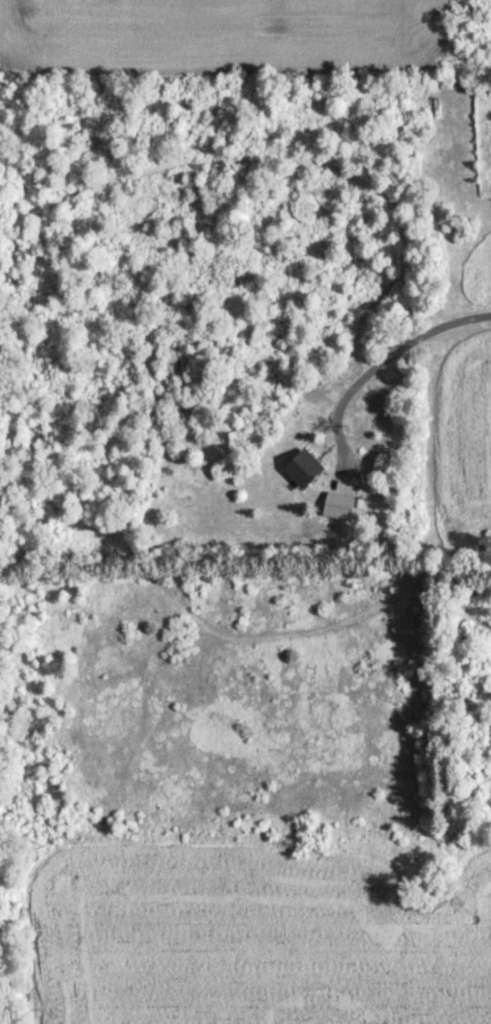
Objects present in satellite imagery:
road: (377, 367)
building: (304, 469)
building: (339, 507)

